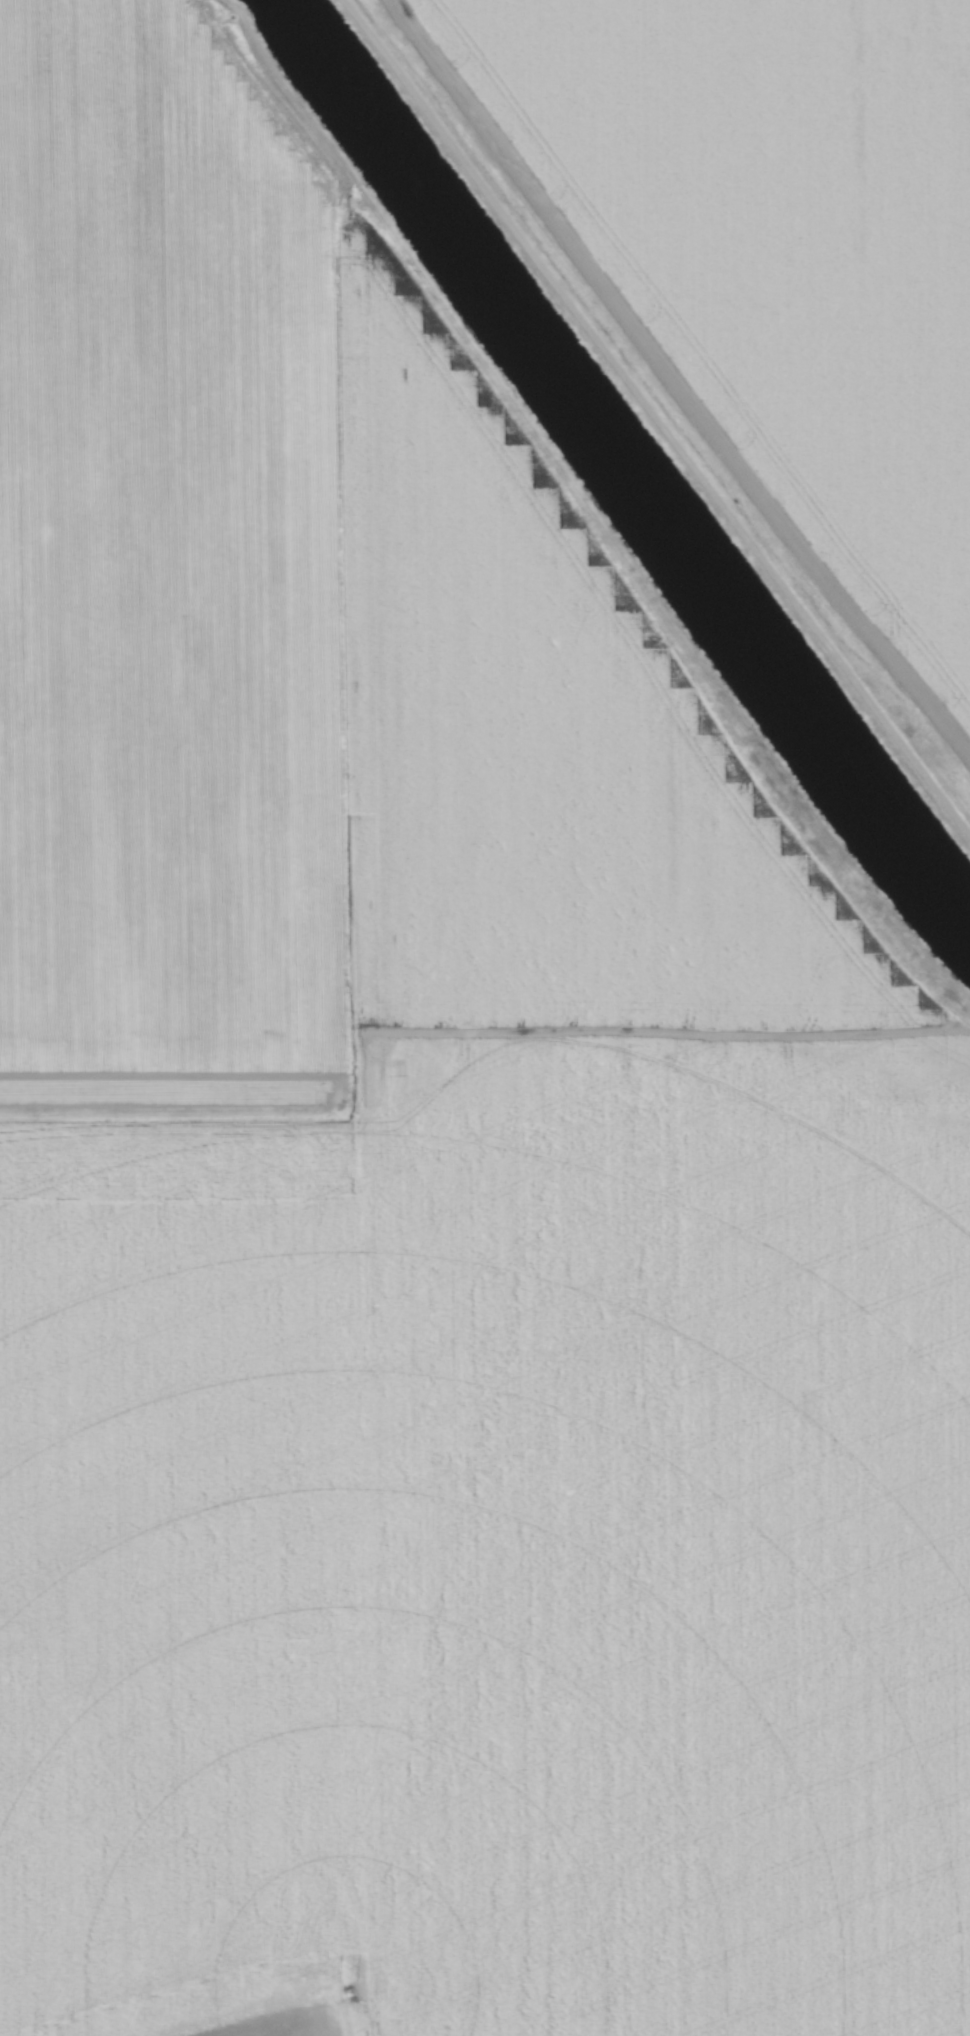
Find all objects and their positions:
crop: (770, 256)
road: (653, 419)
crop: (423, 1205)

